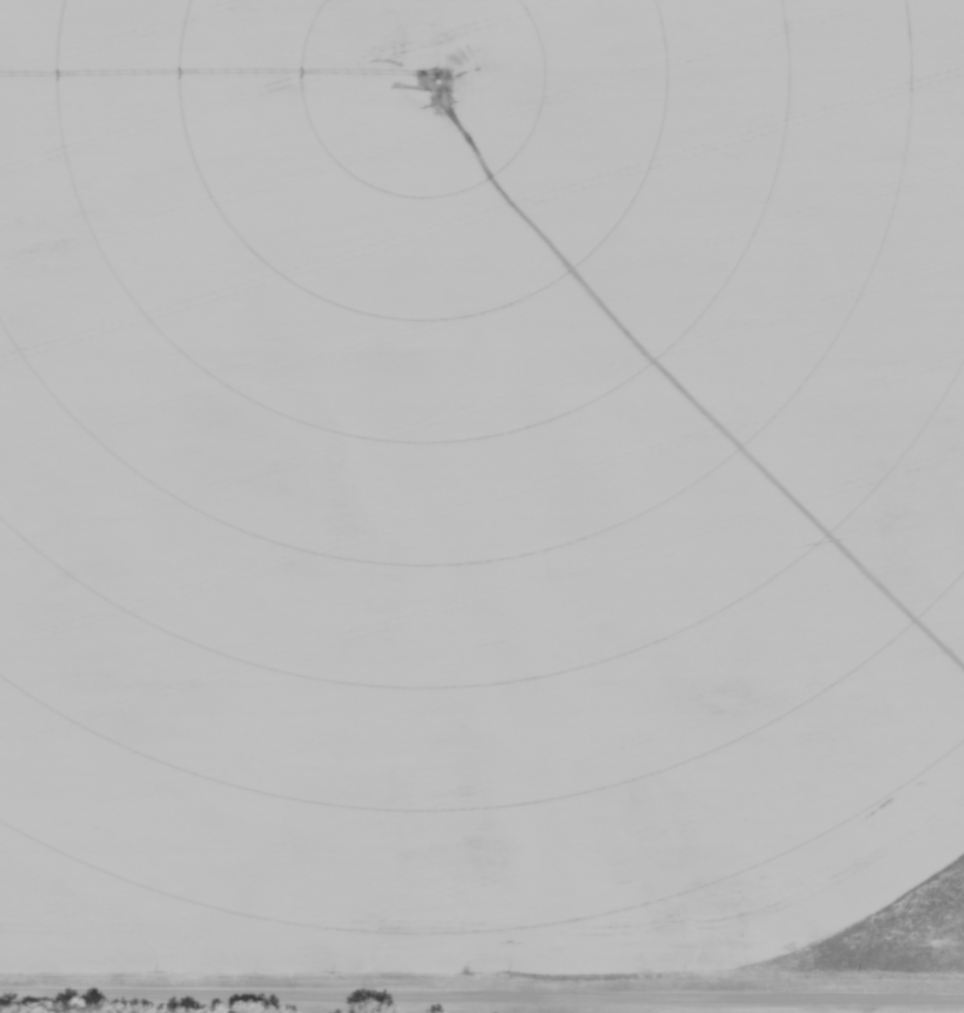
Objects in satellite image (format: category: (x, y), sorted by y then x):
road: (482, 999)

